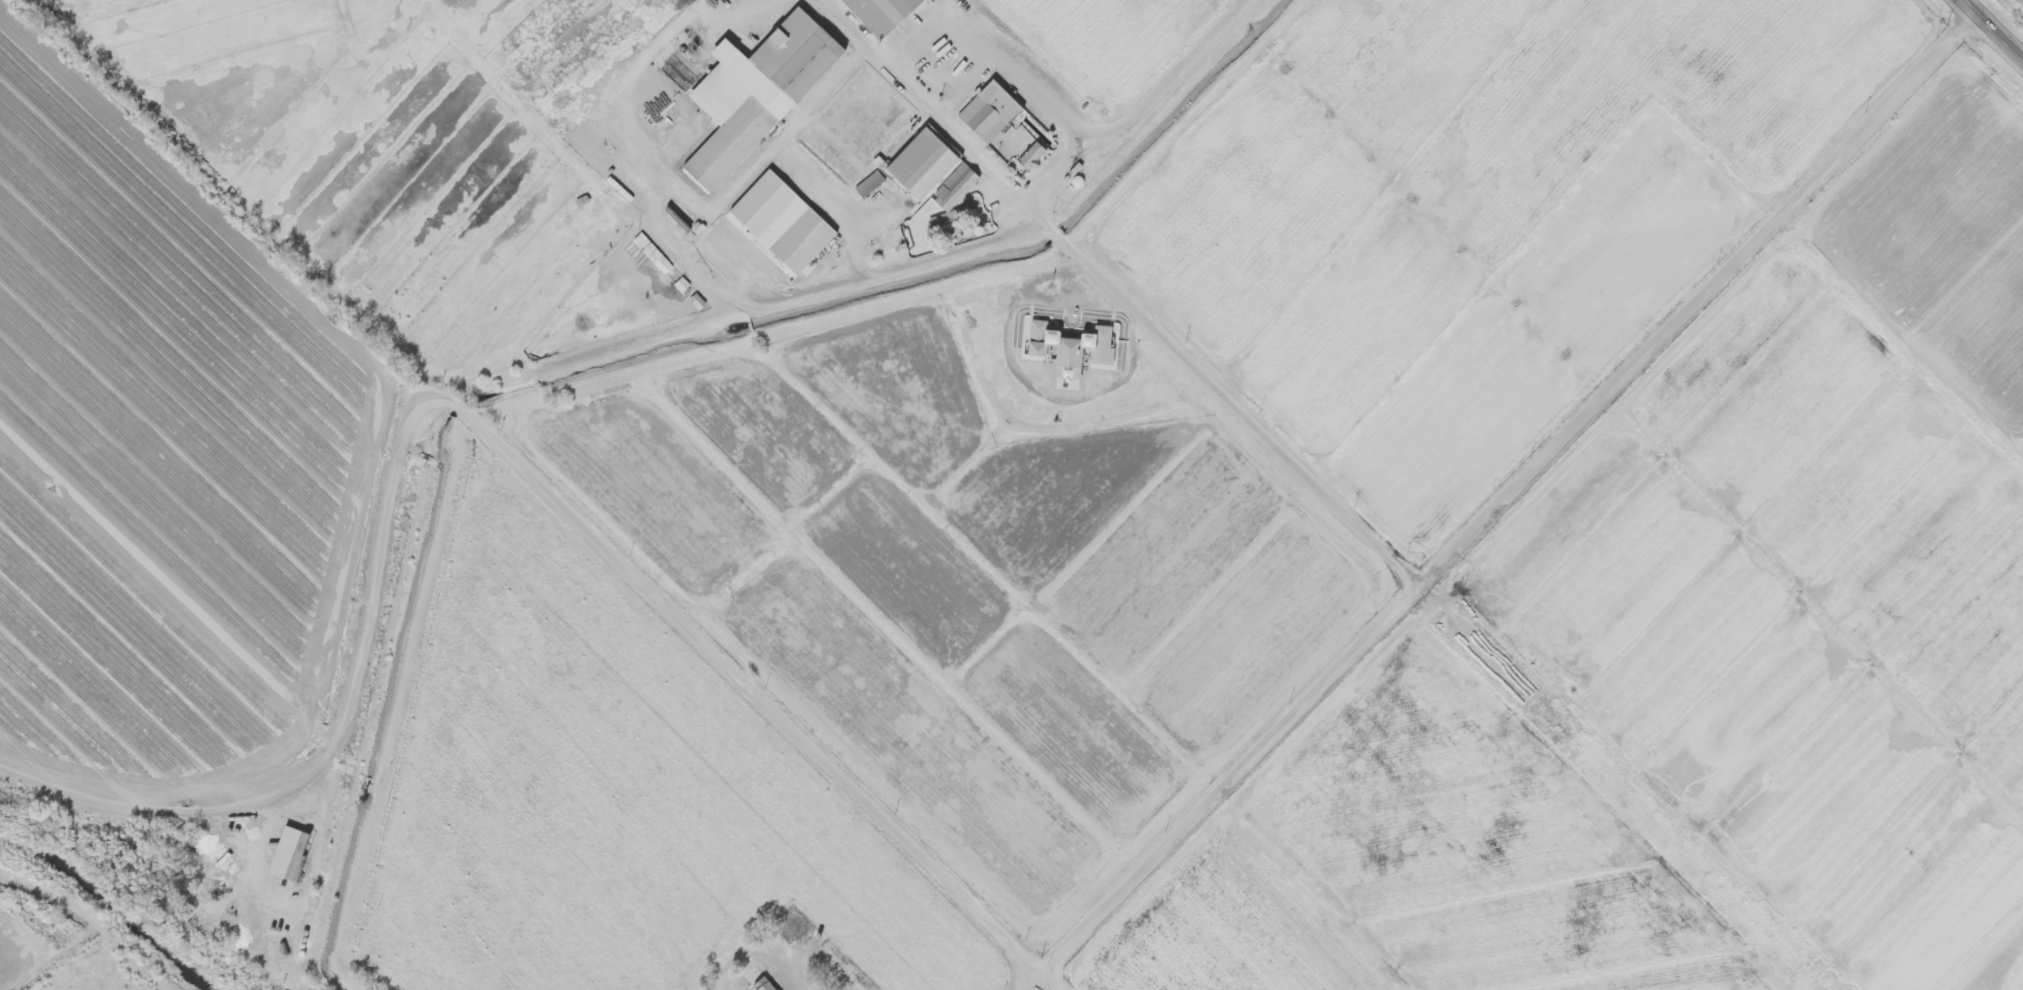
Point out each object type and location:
building: (876, 14)
road: (1991, 30)
building: (790, 57)
road: (1139, 109)
building: (973, 119)
building: (858, 122)
building: (725, 145)
building: (1025, 158)
building: (916, 166)
building: (864, 185)
building: (757, 206)
building: (797, 243)
building: (1067, 354)
road: (1218, 395)
road: (481, 440)
road: (1506, 490)
building: (202, 845)
building: (279, 854)
road: (95, 921)
road: (62, 958)
road: (1028, 979)
road: (1049, 979)
building: (757, 986)

